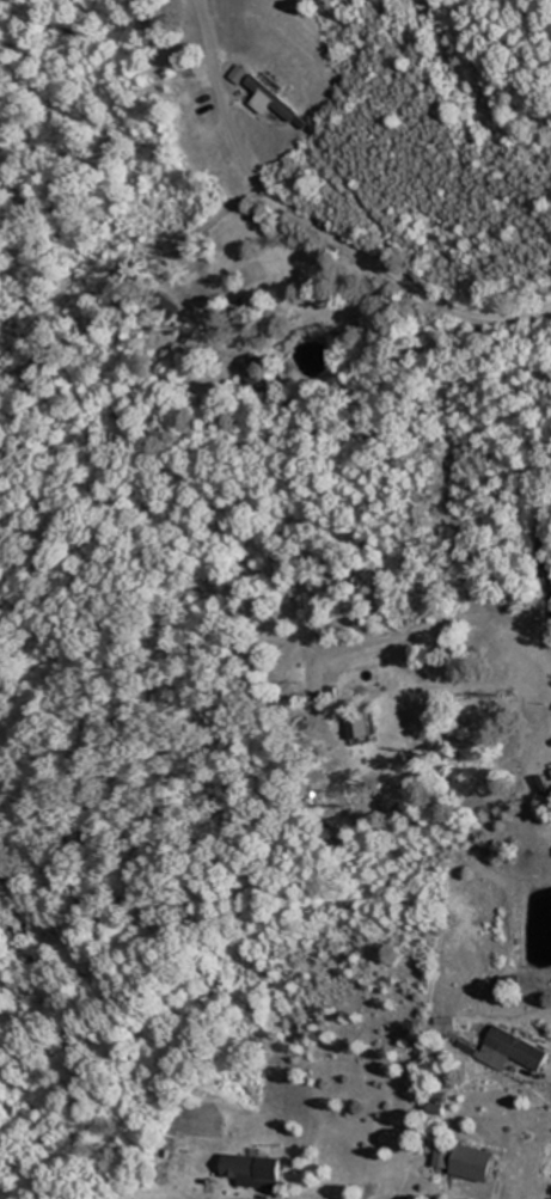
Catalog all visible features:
building: (243, 73)
building: (277, 98)
road: (314, 222)
road: (136, 293)
building: (259, 371)
road: (533, 553)
road: (435, 625)
building: (365, 727)
building: (514, 1050)
building: (247, 1166)
road: (157, 1197)

